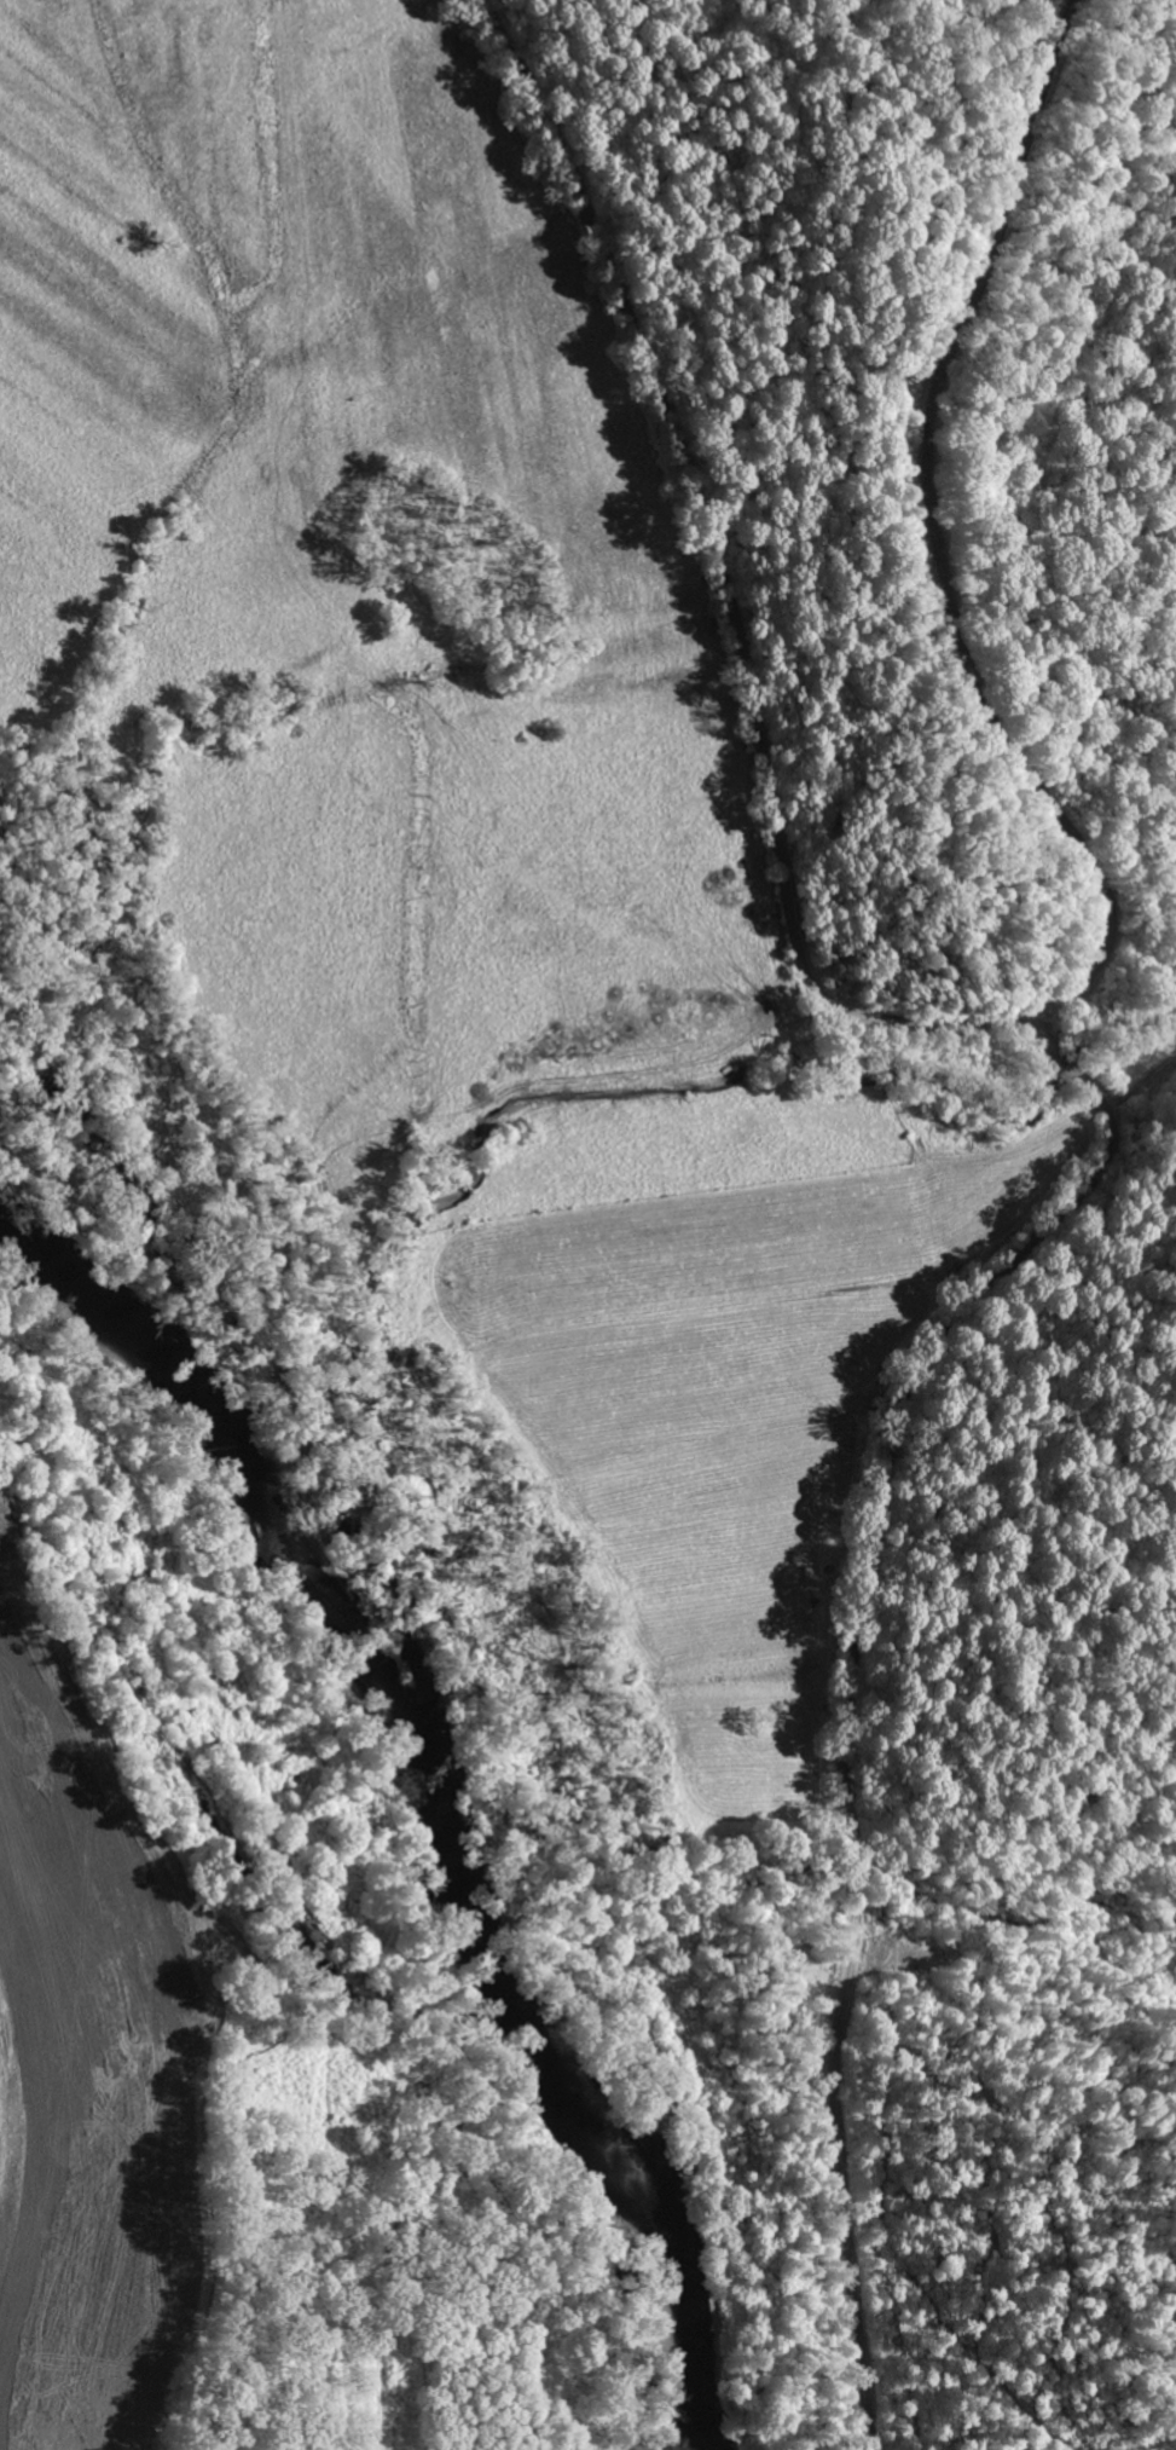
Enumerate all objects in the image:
road: (933, 537)
road: (747, 661)
road: (1066, 1061)
road: (851, 1733)
river: (431, 1790)

